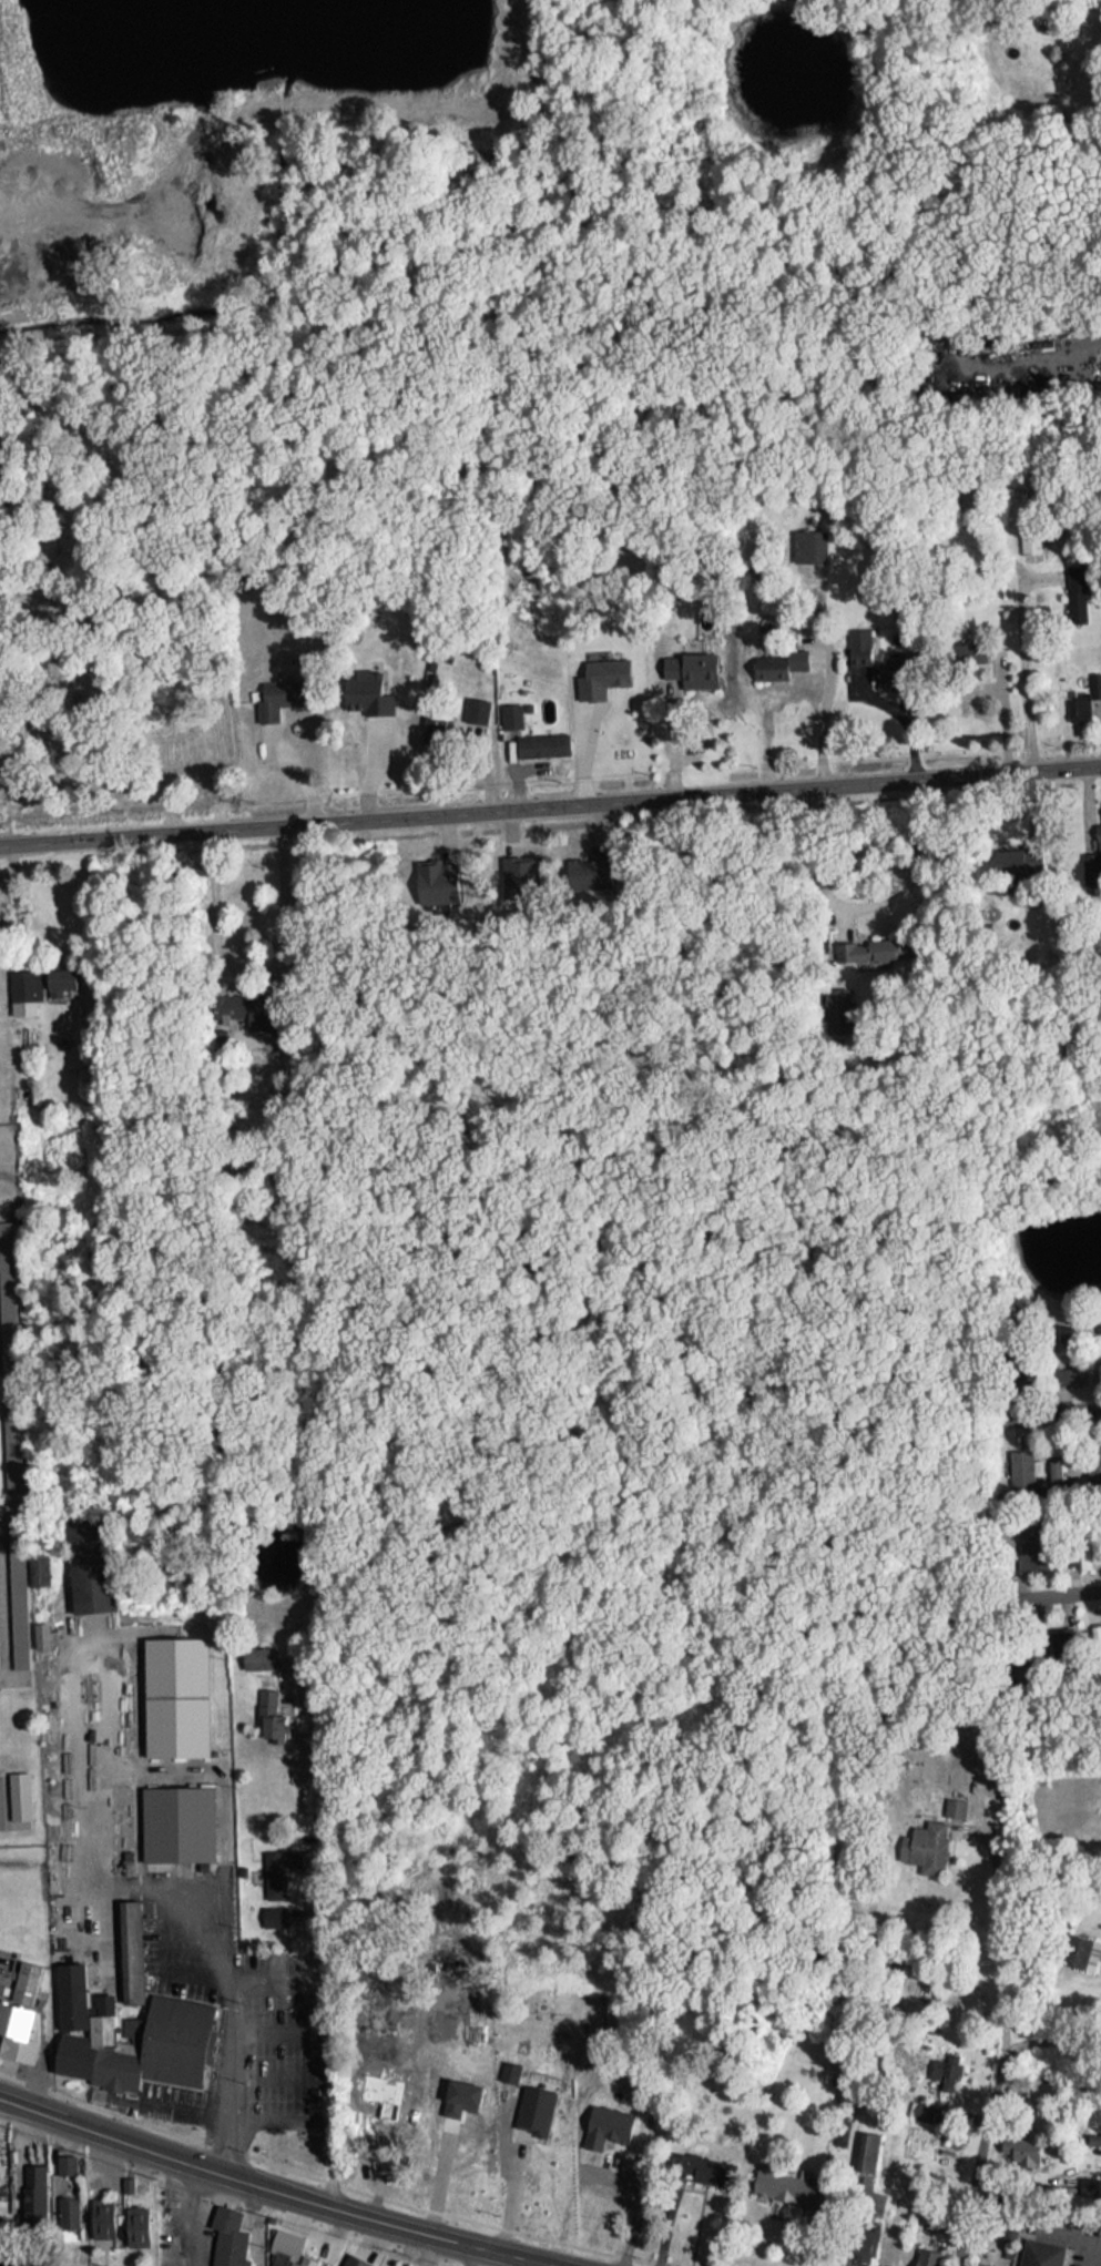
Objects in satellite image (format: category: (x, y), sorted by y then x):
building: (856, 649)
building: (777, 658)
building: (686, 664)
building: (885, 668)
road: (1019, 677)
building: (516, 709)
building: (478, 710)
road: (816, 724)
building: (541, 739)
road: (550, 807)
building: (1005, 855)
road: (867, 904)
road: (253, 966)
building: (58, 975)
road: (1, 1213)
road: (6, 1388)
road: (1053, 1419)
road: (8, 1504)
road: (1059, 1596)
road: (2, 1622)
building: (1059, 1634)
building: (256, 1650)
road: (16, 1677)
building: (173, 1690)
building: (172, 1820)
building: (929, 1832)
road: (992, 1862)
road: (323, 1909)
building: (1074, 1944)
building: (124, 1948)
building: (81, 2008)
building: (18, 2025)
building: (175, 2030)
road: (1056, 2040)
road: (232, 2041)
road: (998, 2075)
building: (1021, 2143)
road: (412, 2170)
building: (89, 2173)
building: (783, 2179)
building: (34, 2185)
road: (274, 2189)
road: (508, 2191)
road: (630, 2203)
building: (67, 2206)
building: (101, 2211)
road: (846, 2227)
road: (806, 2237)
building: (1039, 2249)
building: (353, 2258)

